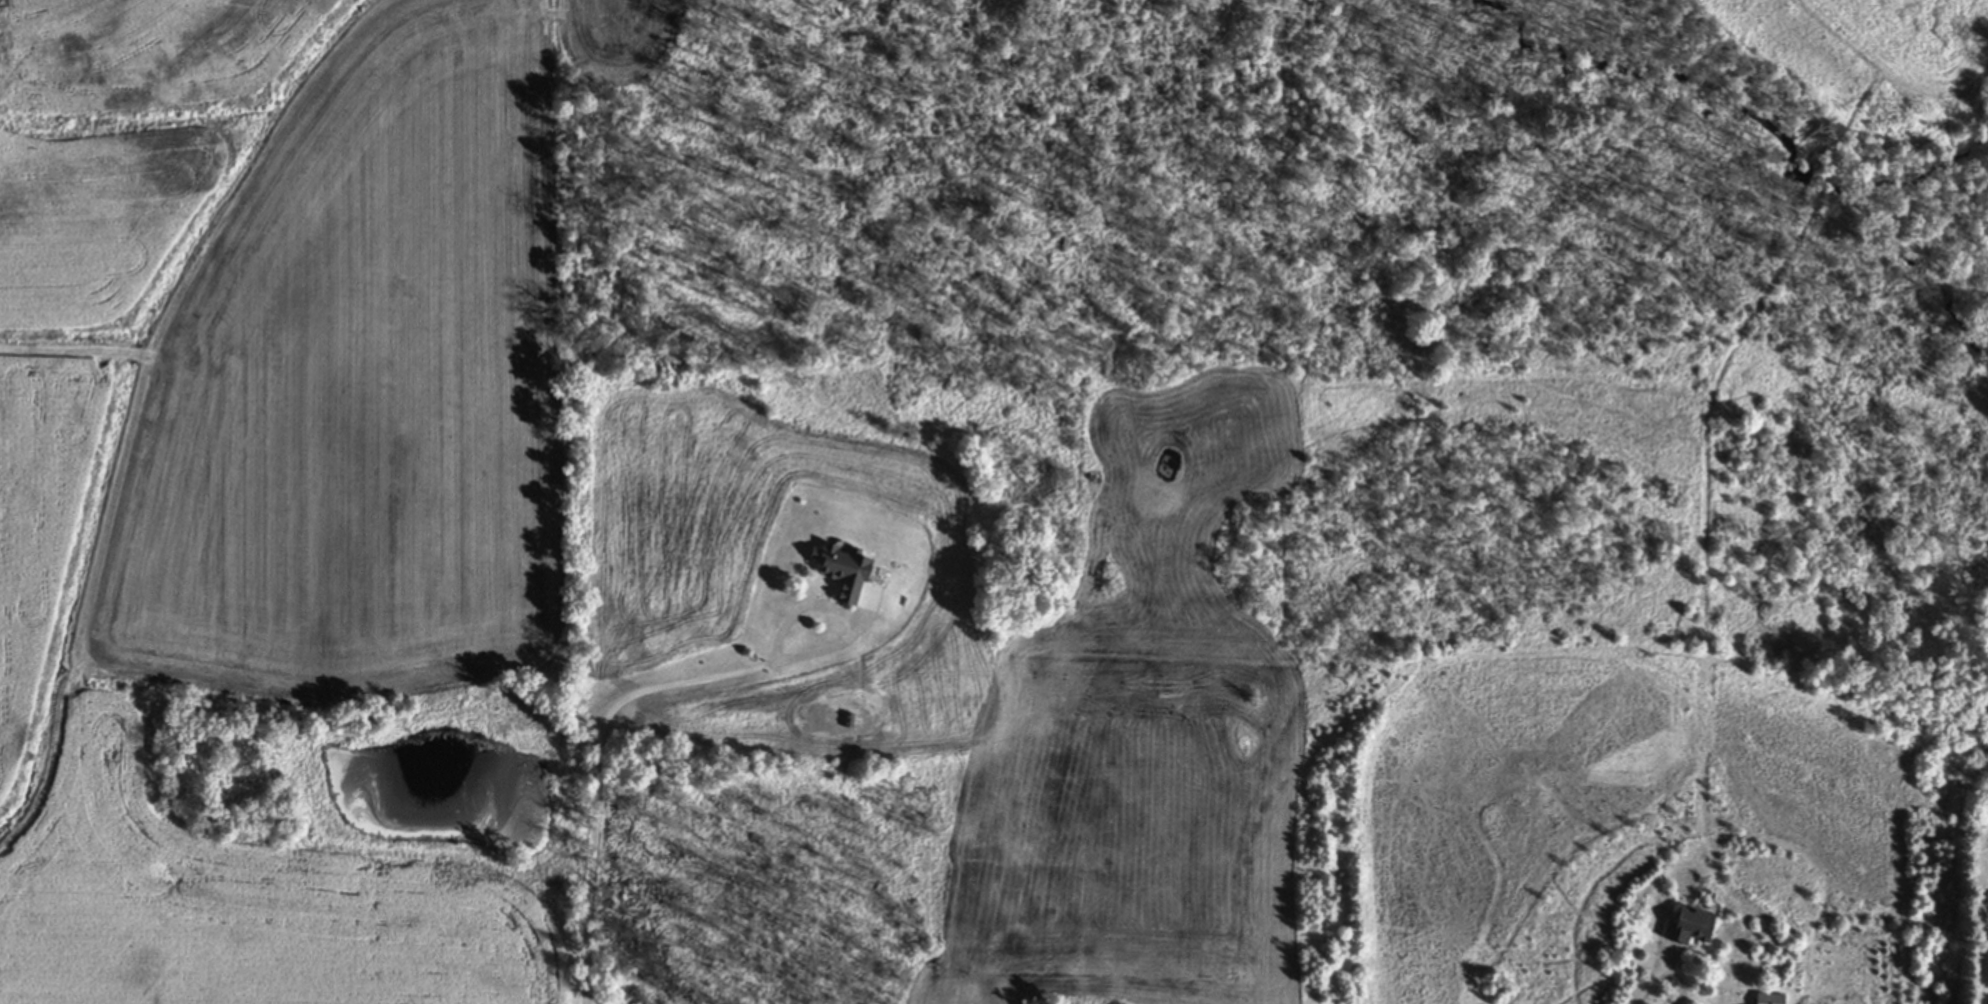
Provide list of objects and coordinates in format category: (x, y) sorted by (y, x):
building: (837, 570)
road: (598, 746)
building: (1986, 900)
building: (1685, 926)
road: (1856, 956)
road: (1651, 981)
building: (1765, 998)

